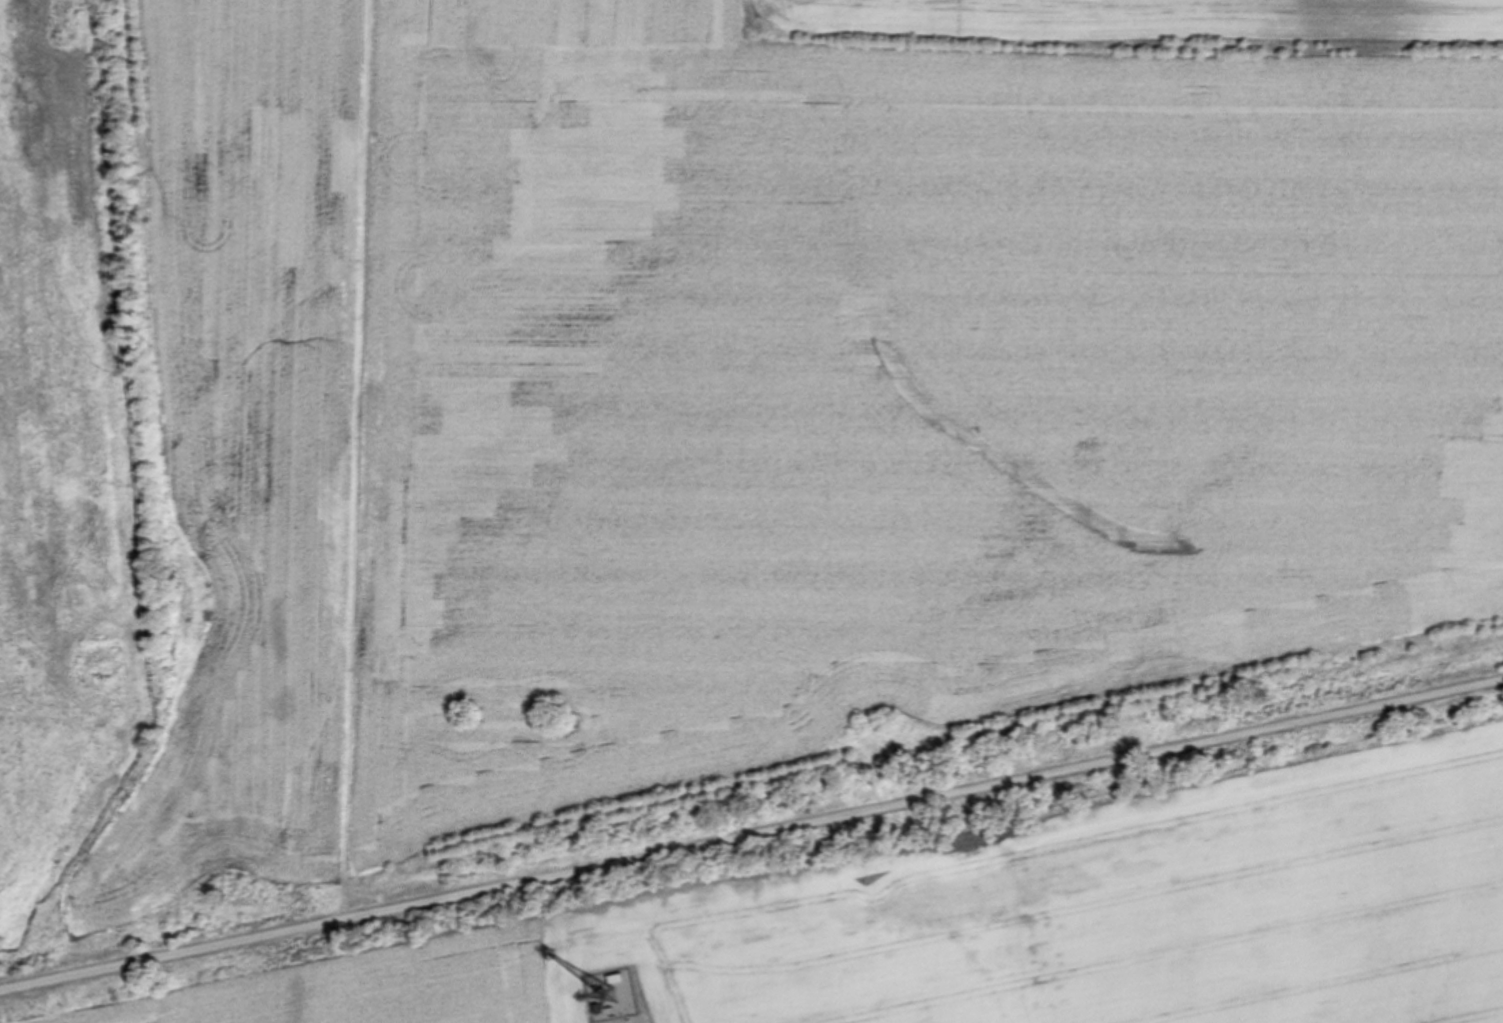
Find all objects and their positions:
road: (751, 834)
building: (617, 979)

